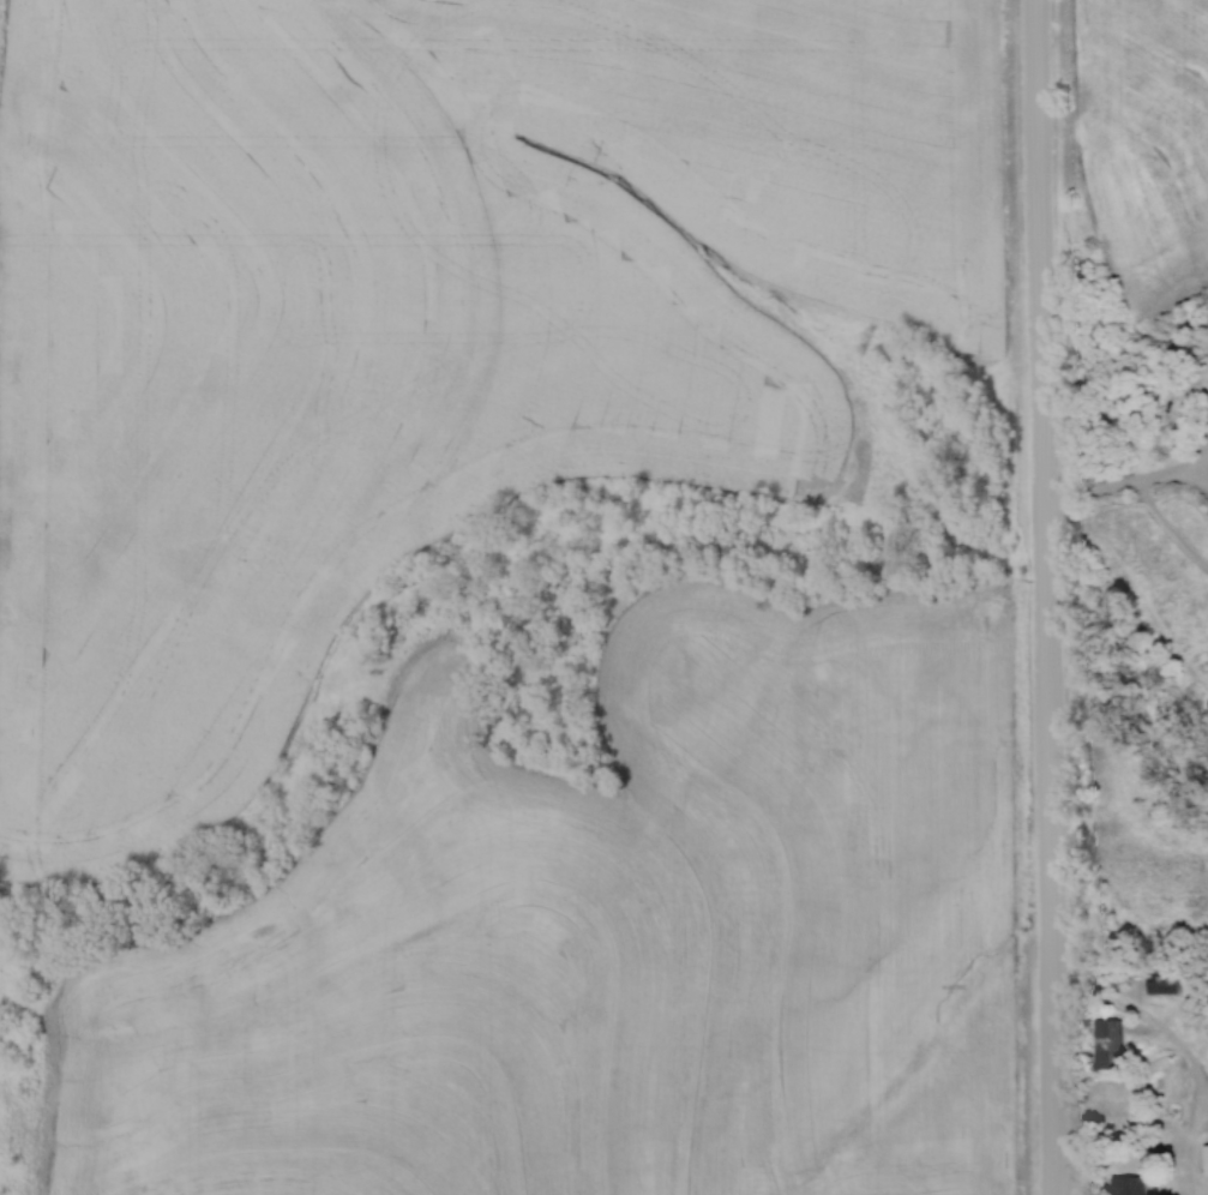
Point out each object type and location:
road: (1131, 485)
road: (1047, 596)
building: (1159, 983)
building: (1105, 1045)
building: (1203, 1159)
building: (1124, 1185)

